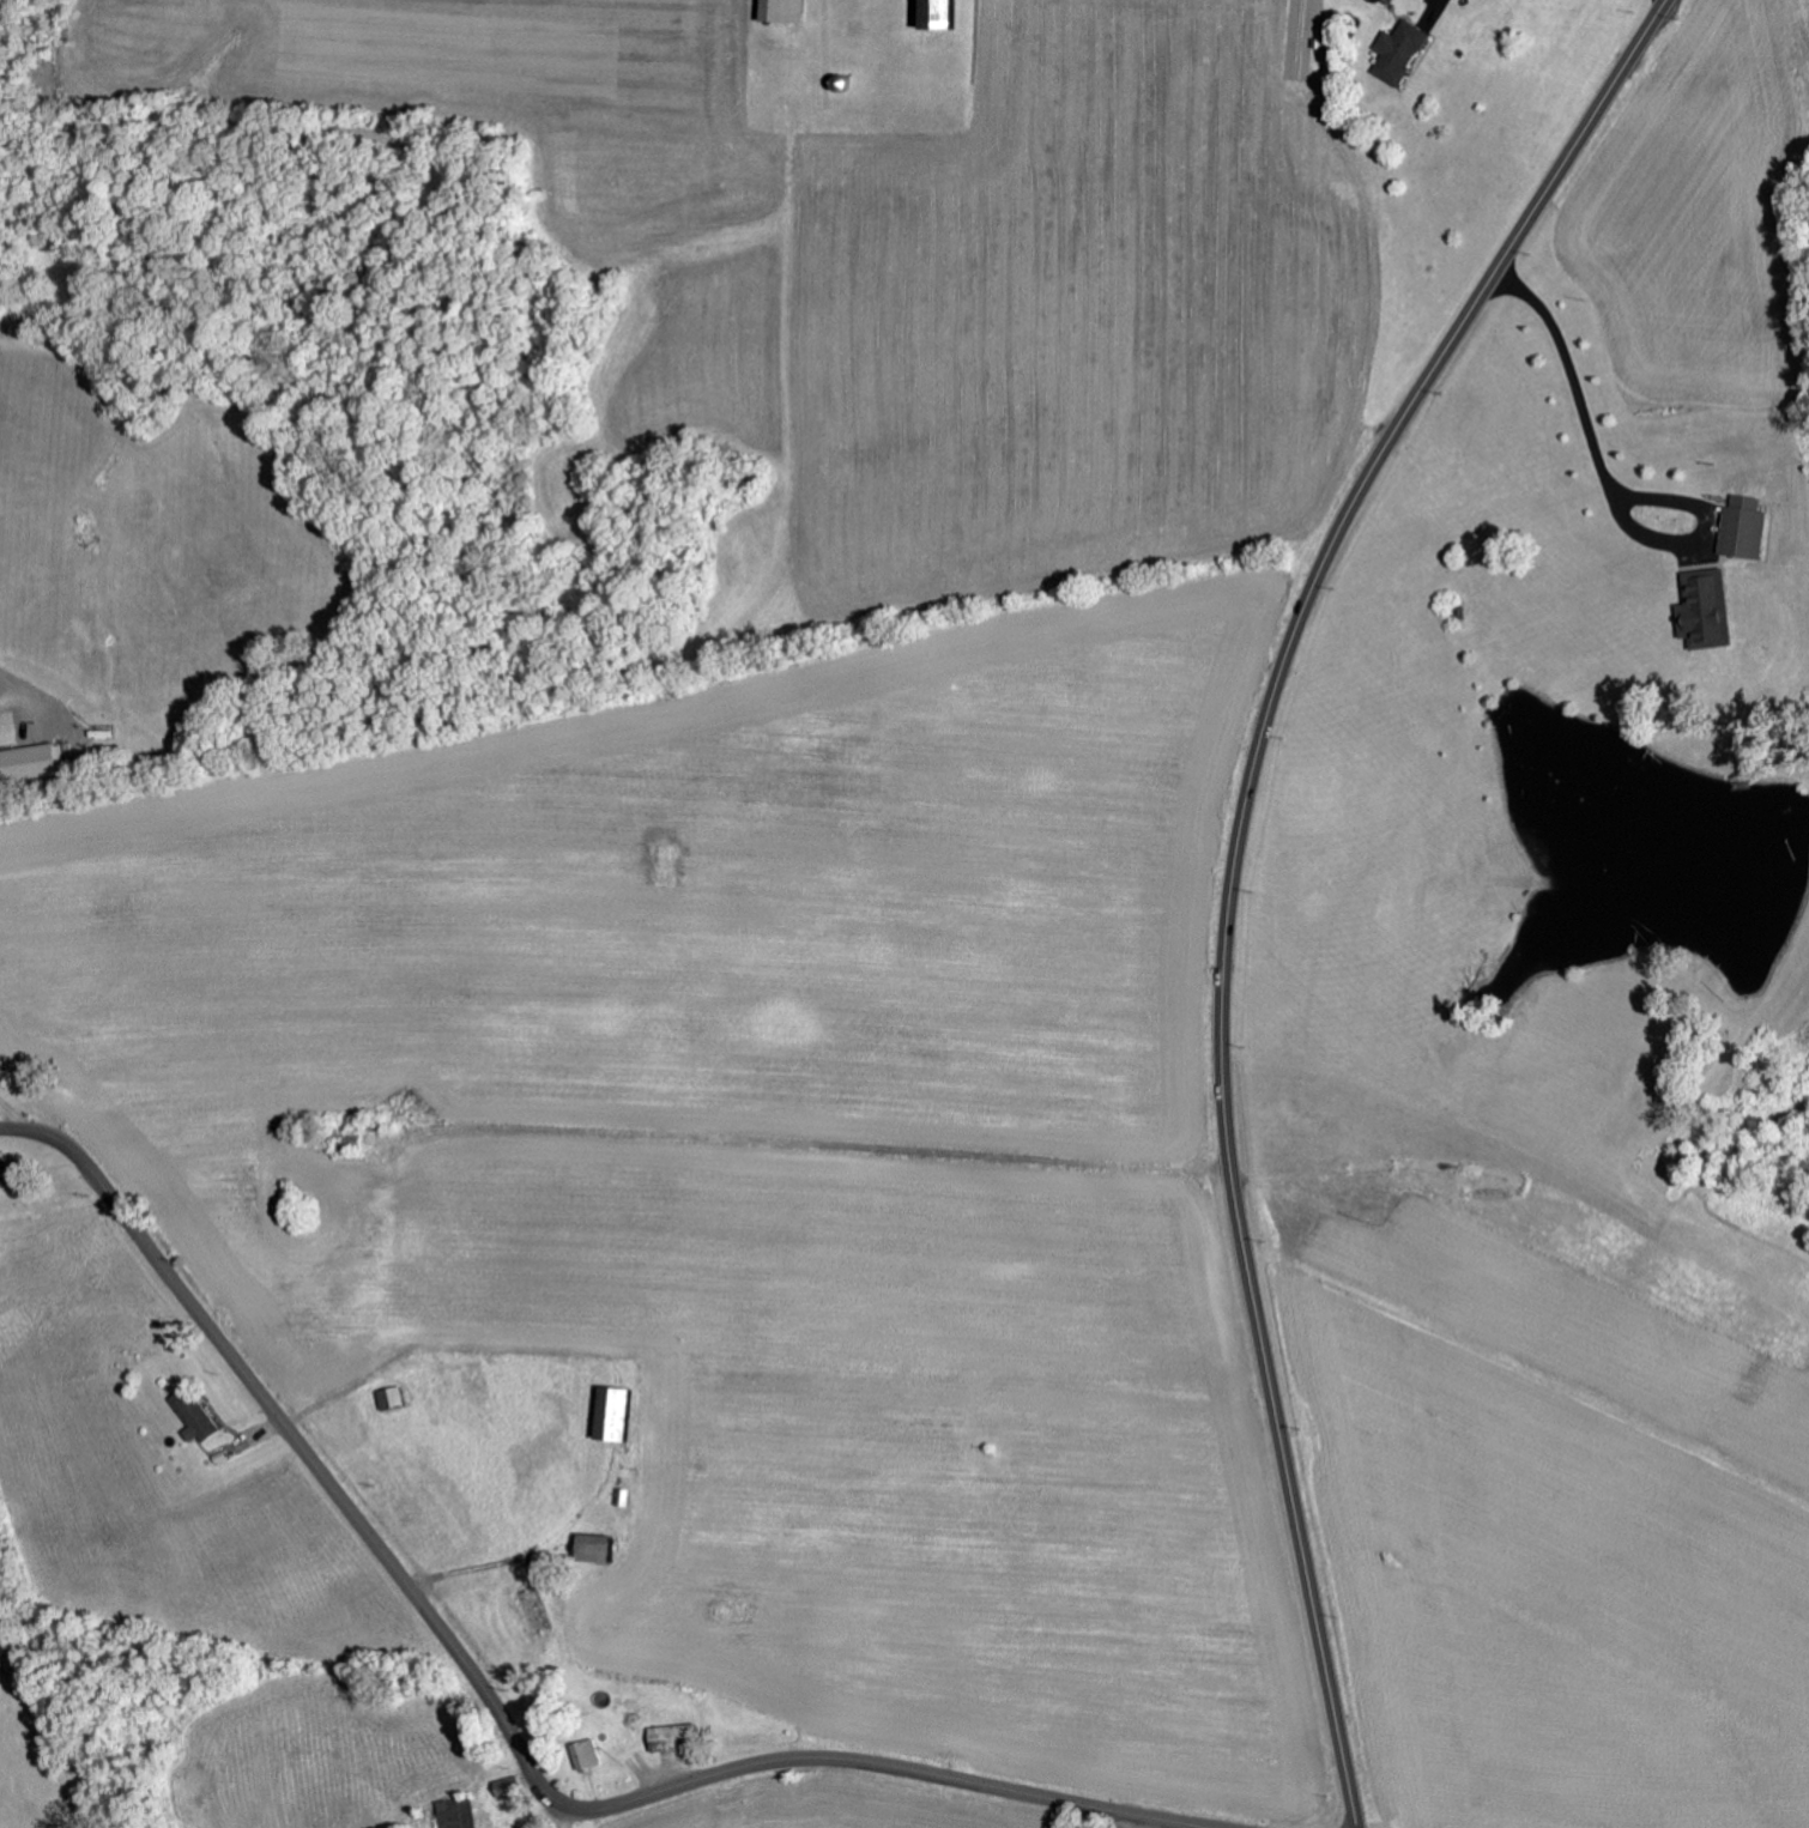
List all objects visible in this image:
building: (780, 11)
building: (933, 14)
building: (1396, 52)
building: (1741, 528)
building: (1702, 611)
building: (25, 761)
road: (1236, 865)
road: (842, 1125)
building: (4, 1175)
building: (388, 1397)
building: (611, 1412)
building: (190, 1415)
building: (621, 1496)
building: (592, 1546)
road: (496, 1703)
building: (670, 1736)
building: (582, 1754)
building: (454, 1812)
road: (568, 1816)

